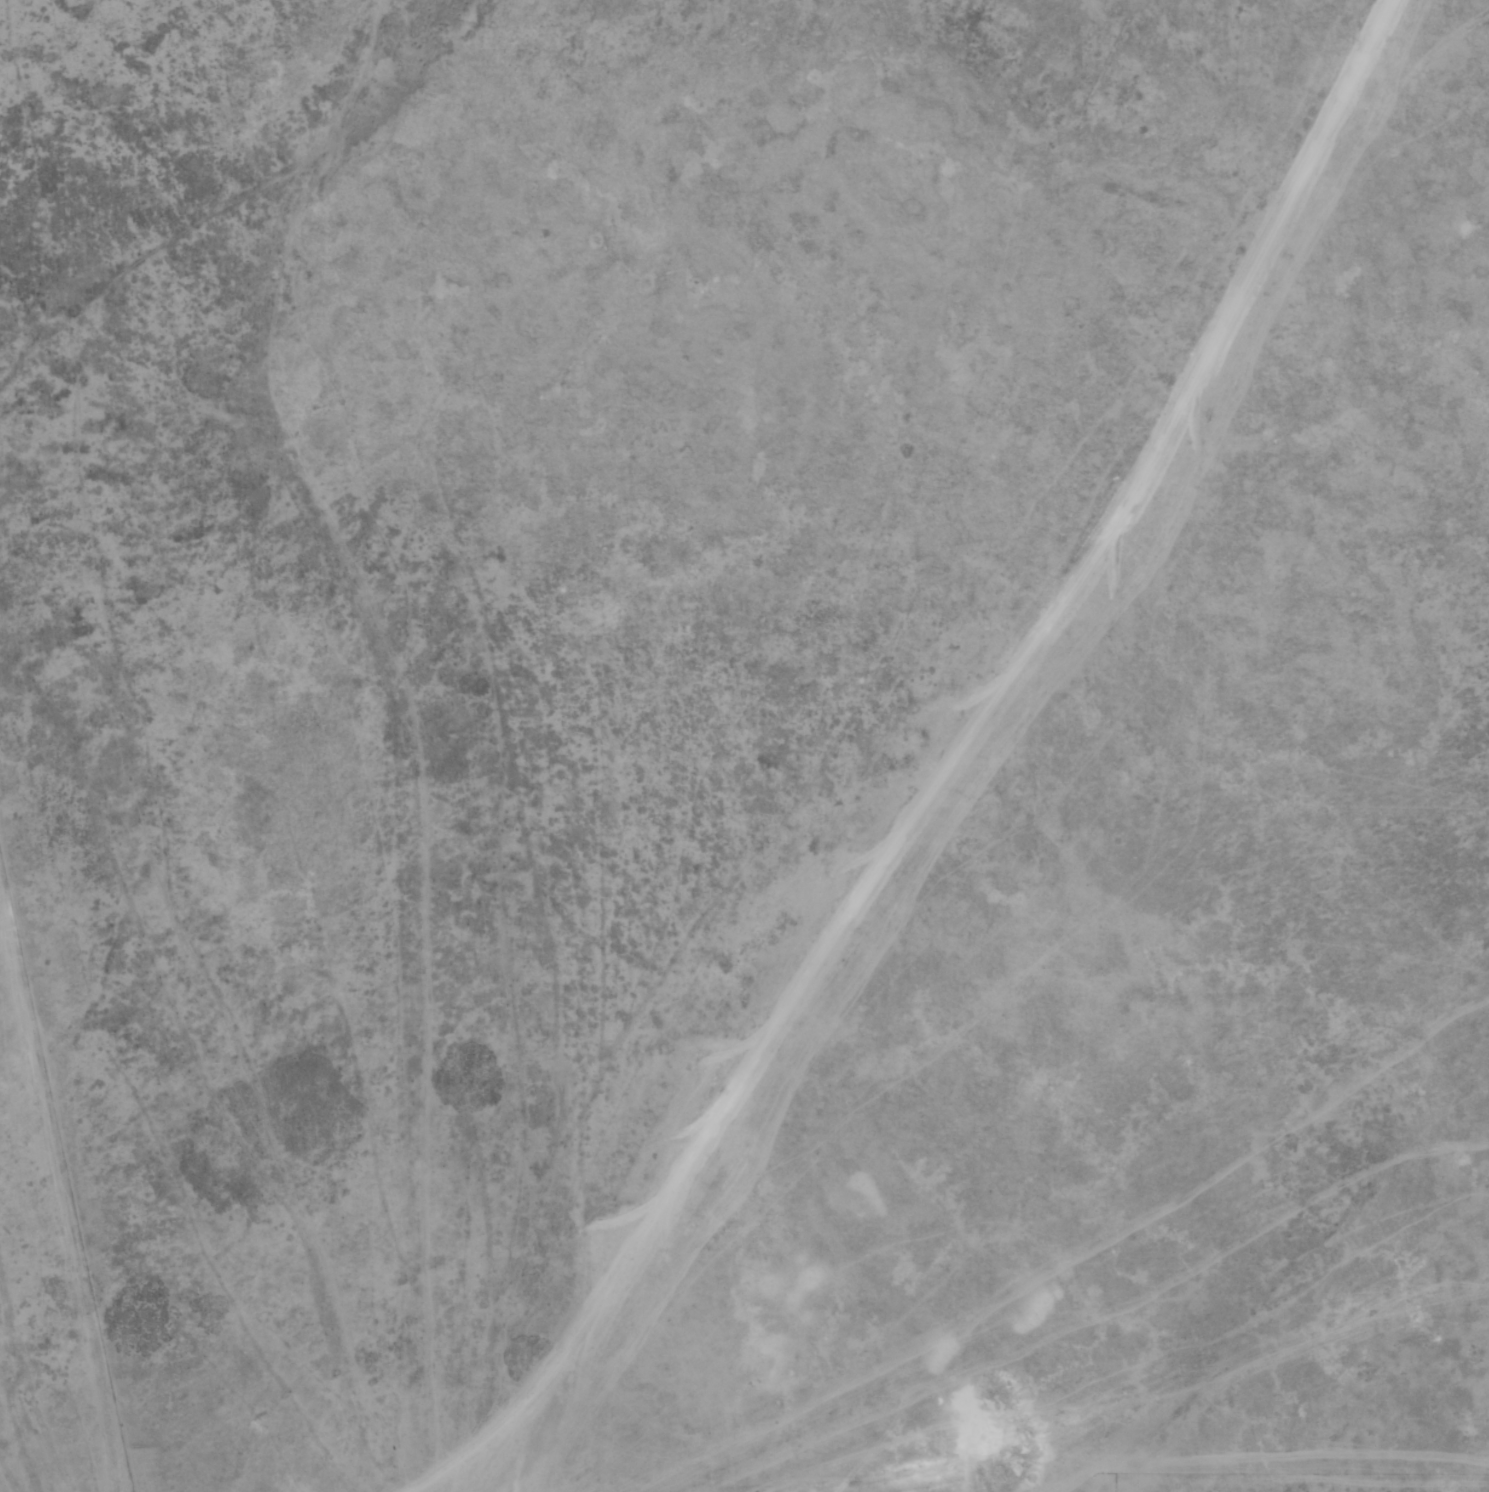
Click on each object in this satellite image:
road: (977, 787)

